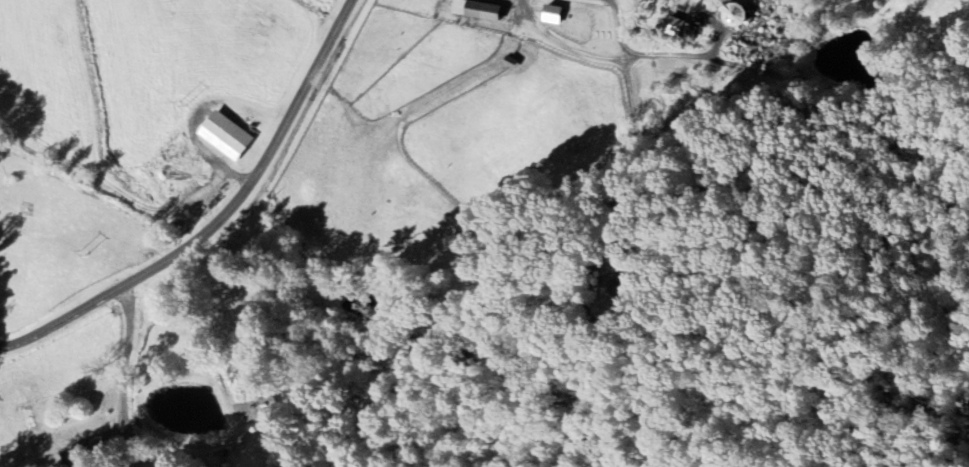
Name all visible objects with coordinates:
building: (475, 10)
building: (551, 14)
building: (674, 26)
road: (615, 61)
building: (224, 136)
road: (219, 218)
power tower: (88, 251)
road: (125, 360)
building: (82, 454)

